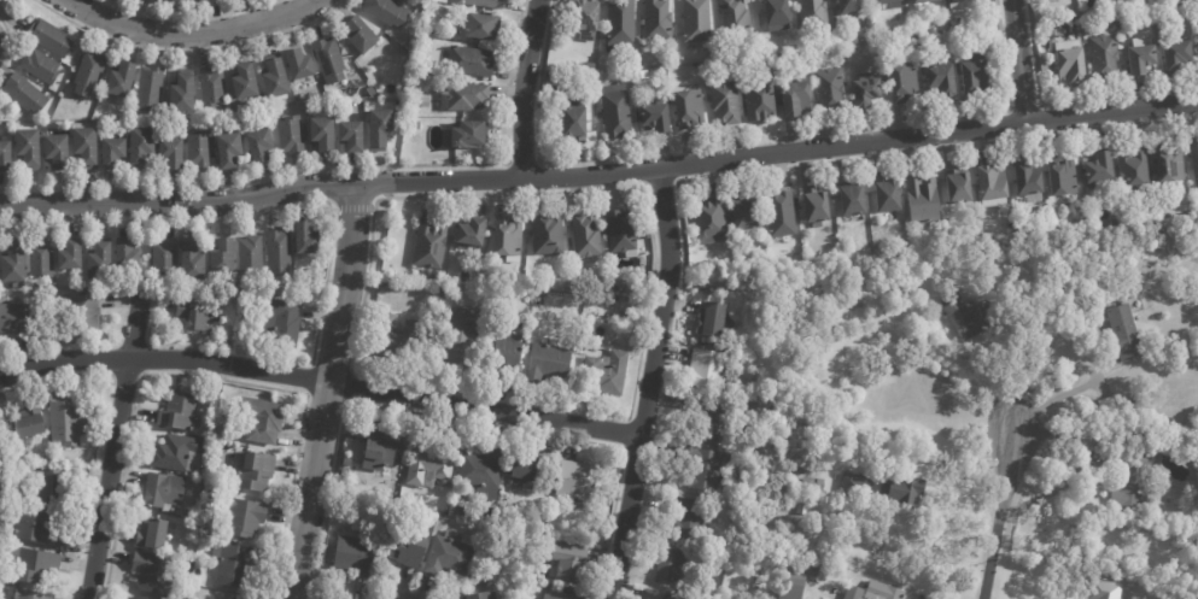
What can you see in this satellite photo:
building: (176, 0)
building: (210, 0)
building: (887, 1)
building: (924, 1)
building: (962, 1)
building: (484, 4)
building: (851, 7)
building: (386, 12)
building: (1083, 12)
building: (814, 14)
building: (775, 16)
building: (580, 18)
building: (729, 18)
building: (650, 19)
building: (636, 20)
building: (689, 20)
building: (614, 25)
building: (481, 29)
road: (193, 34)
building: (1126, 34)
building: (1197, 35)
building: (360, 36)
building: (48, 39)
building: (962, 39)
building: (1177, 54)
building: (726, 55)
building: (1106, 55)
building: (713, 57)
building: (812, 58)
building: (1141, 58)
building: (323, 59)
building: (946, 59)
road: (1017, 59)
building: (1070, 60)
building: (293, 63)
building: (471, 63)
building: (1046, 65)
building: (590, 66)
building: (40, 67)
building: (974, 74)
building: (89, 75)
building: (549, 76)
building: (637, 76)
building: (269, 78)
building: (121, 80)
building: (239, 80)
building: (743, 80)
building: (942, 82)
building: (904, 83)
building: (212, 87)
road: (521, 88)
building: (150, 90)
building: (830, 90)
building: (182, 93)
building: (867, 94)
building: (24, 95)
building: (461, 96)
building: (761, 101)
building: (572, 102)
building: (795, 102)
building: (426, 104)
building: (726, 104)
building: (690, 111)
building: (616, 113)
building: (658, 119)
building: (574, 125)
building: (375, 127)
building: (316, 134)
building: (463, 134)
building: (345, 135)
building: (291, 136)
building: (259, 146)
building: (84, 148)
building: (28, 149)
building: (141, 149)
building: (199, 152)
building: (229, 152)
building: (55, 153)
building: (112, 154)
building: (171, 157)
building: (5, 159)
building: (1194, 159)
building: (1169, 164)
building: (1099, 168)
building: (1135, 170)
road: (600, 174)
building: (1063, 178)
building: (1029, 180)
building: (993, 184)
building: (958, 186)
building: (887, 194)
building: (853, 199)
building: (923, 199)
building: (818, 206)
building: (744, 212)
building: (782, 213)
building: (711, 218)
building: (648, 230)
building: (472, 231)
building: (625, 233)
building: (548, 234)
building: (507, 235)
building: (586, 235)
building: (305, 241)
building: (431, 245)
building: (1177, 251)
building: (277, 254)
building: (70, 256)
building: (127, 256)
building: (250, 257)
building: (164, 259)
building: (222, 259)
building: (41, 260)
building: (99, 262)
building: (192, 263)
building: (1123, 263)
building: (13, 268)
building: (464, 277)
building: (434, 278)
building: (385, 280)
building: (387, 299)
building: (1150, 300)
building: (971, 310)
building: (83, 313)
building: (195, 316)
building: (718, 319)
building: (13, 321)
building: (1171, 322)
building: (420, 324)
building: (279, 325)
building: (386, 327)
building: (1127, 331)
building: (53, 335)
building: (454, 351)
building: (509, 351)
building: (548, 362)
building: (707, 368)
building: (606, 372)
road: (319, 381)
road: (647, 383)
road: (323, 390)
building: (1140, 394)
road: (1059, 395)
building: (1130, 397)
building: (1109, 405)
building: (1157, 409)
building: (179, 411)
building: (68, 419)
building: (263, 419)
building: (28, 421)
building: (719, 421)
road: (112, 445)
building: (385, 447)
building: (177, 453)
building: (16, 458)
building: (347, 462)
building: (429, 463)
building: (707, 468)
building: (802, 469)
building: (255, 470)
building: (528, 471)
building: (483, 472)
building: (201, 474)
building: (1128, 480)
building: (814, 482)
building: (212, 483)
building: (577, 483)
building: (48, 486)
building: (857, 486)
building: (904, 488)
building: (163, 489)
building: (456, 491)
building: (209, 494)
building: (0, 499)
building: (456, 511)
road: (995, 513)
building: (390, 516)
building: (688, 517)
building: (242, 518)
building: (194, 525)
building: (37, 528)
building: (152, 534)
building: (7, 535)
building: (534, 539)
building: (407, 548)
building: (449, 554)
building: (355, 556)
building: (568, 562)
building: (34, 564)
building: (233, 564)
building: (530, 566)
building: (673, 566)
building: (154, 572)
building: (4, 579)
building: (814, 579)
building: (794, 581)
building: (1105, 591)
building: (884, 592)
building: (854, 593)
building: (30, 594)
building: (562, 594)
building: (182, 595)
building: (484, 595)
building: (662, 597)
building: (140, 598)
building: (226, 598)
building: (235, 598)

